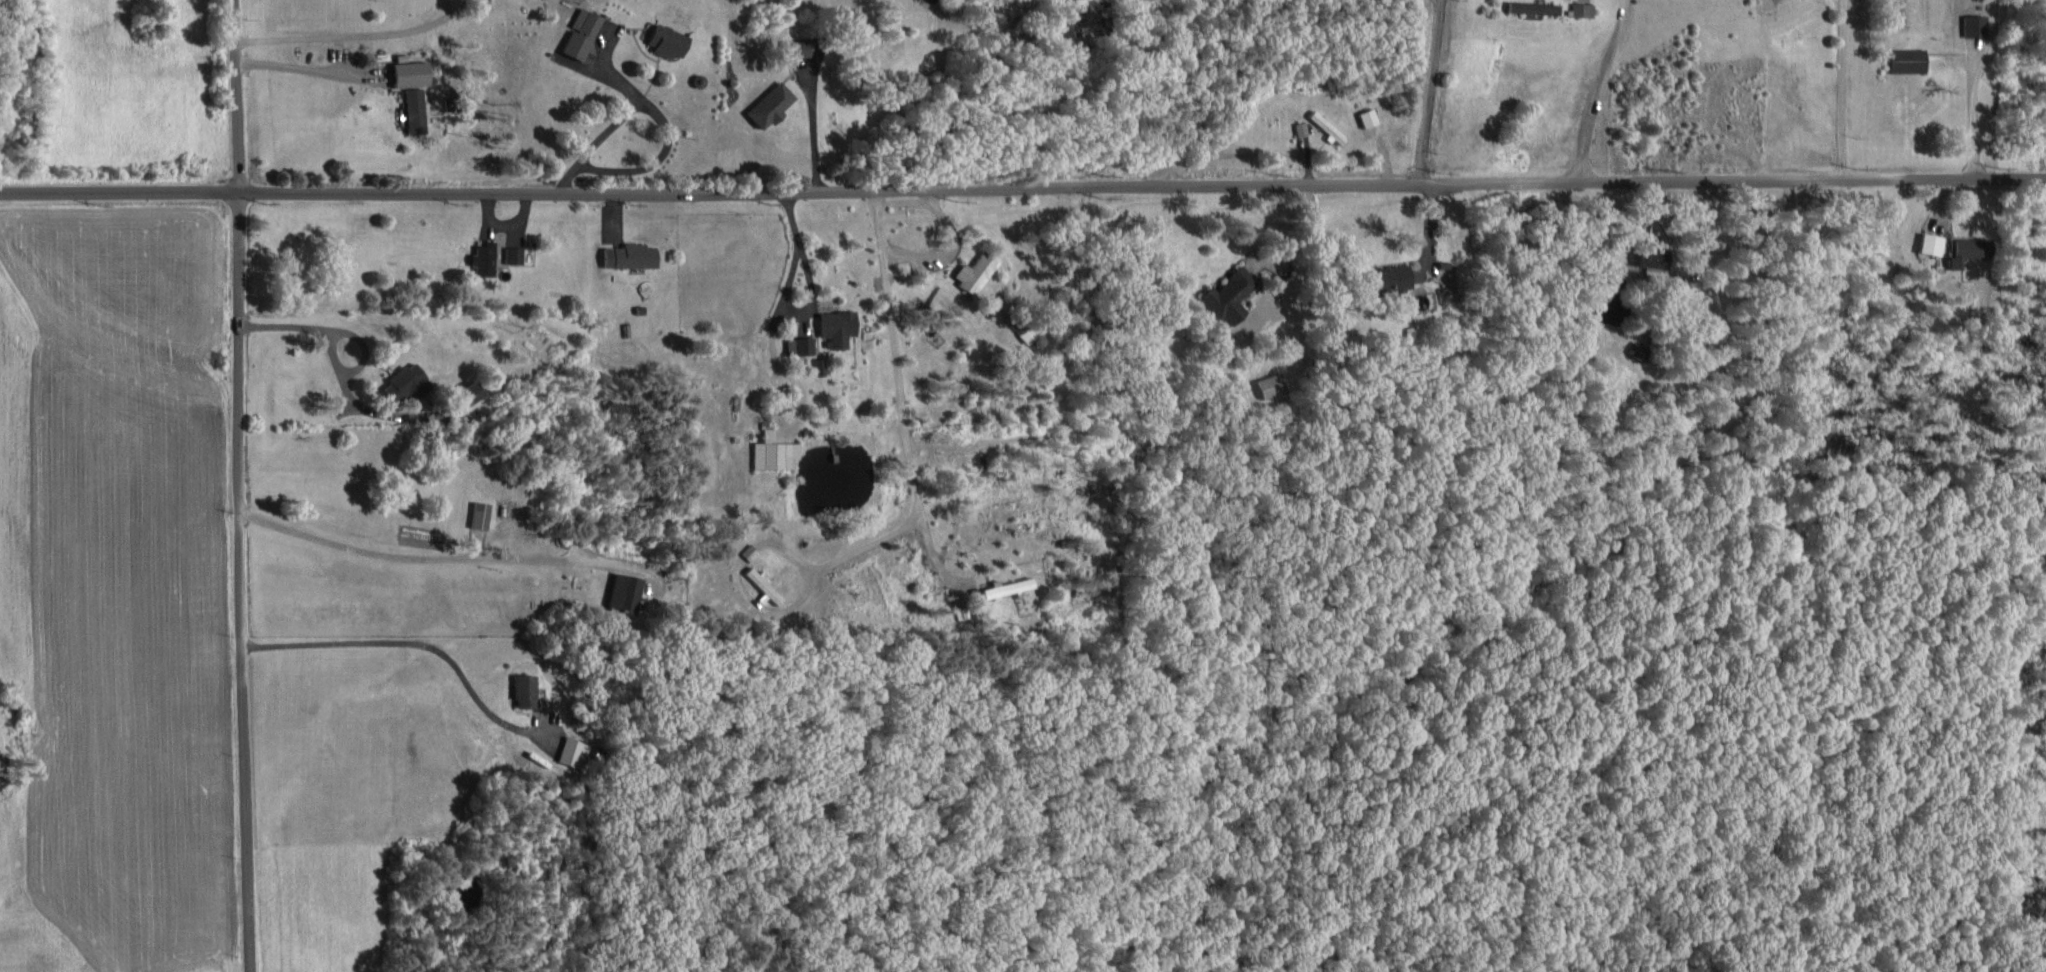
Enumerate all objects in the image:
building: (1529, 6)
building: (1579, 8)
building: (1065, 22)
building: (1971, 24)
building: (576, 32)
building: (662, 38)
building: (795, 46)
building: (1905, 58)
building: (407, 71)
road: (1596, 89)
road: (1429, 91)
building: (767, 103)
building: (412, 109)
road: (625, 111)
building: (1365, 115)
building: (1323, 125)
building: (1298, 127)
road: (1023, 185)
building: (1928, 242)
building: (1966, 248)
road: (943, 249)
building: (511, 253)
building: (631, 254)
building: (1650, 255)
building: (481, 257)
building: (970, 270)
building: (1384, 278)
building: (1226, 294)
building: (832, 326)
building: (796, 344)
building: (816, 364)
building: (402, 381)
building: (1267, 384)
building: (462, 391)
road: (897, 393)
building: (770, 450)
road: (239, 486)
building: (478, 513)
building: (745, 550)
building: (760, 583)
building: (1003, 585)
building: (620, 591)
building: (522, 689)
building: (571, 750)

